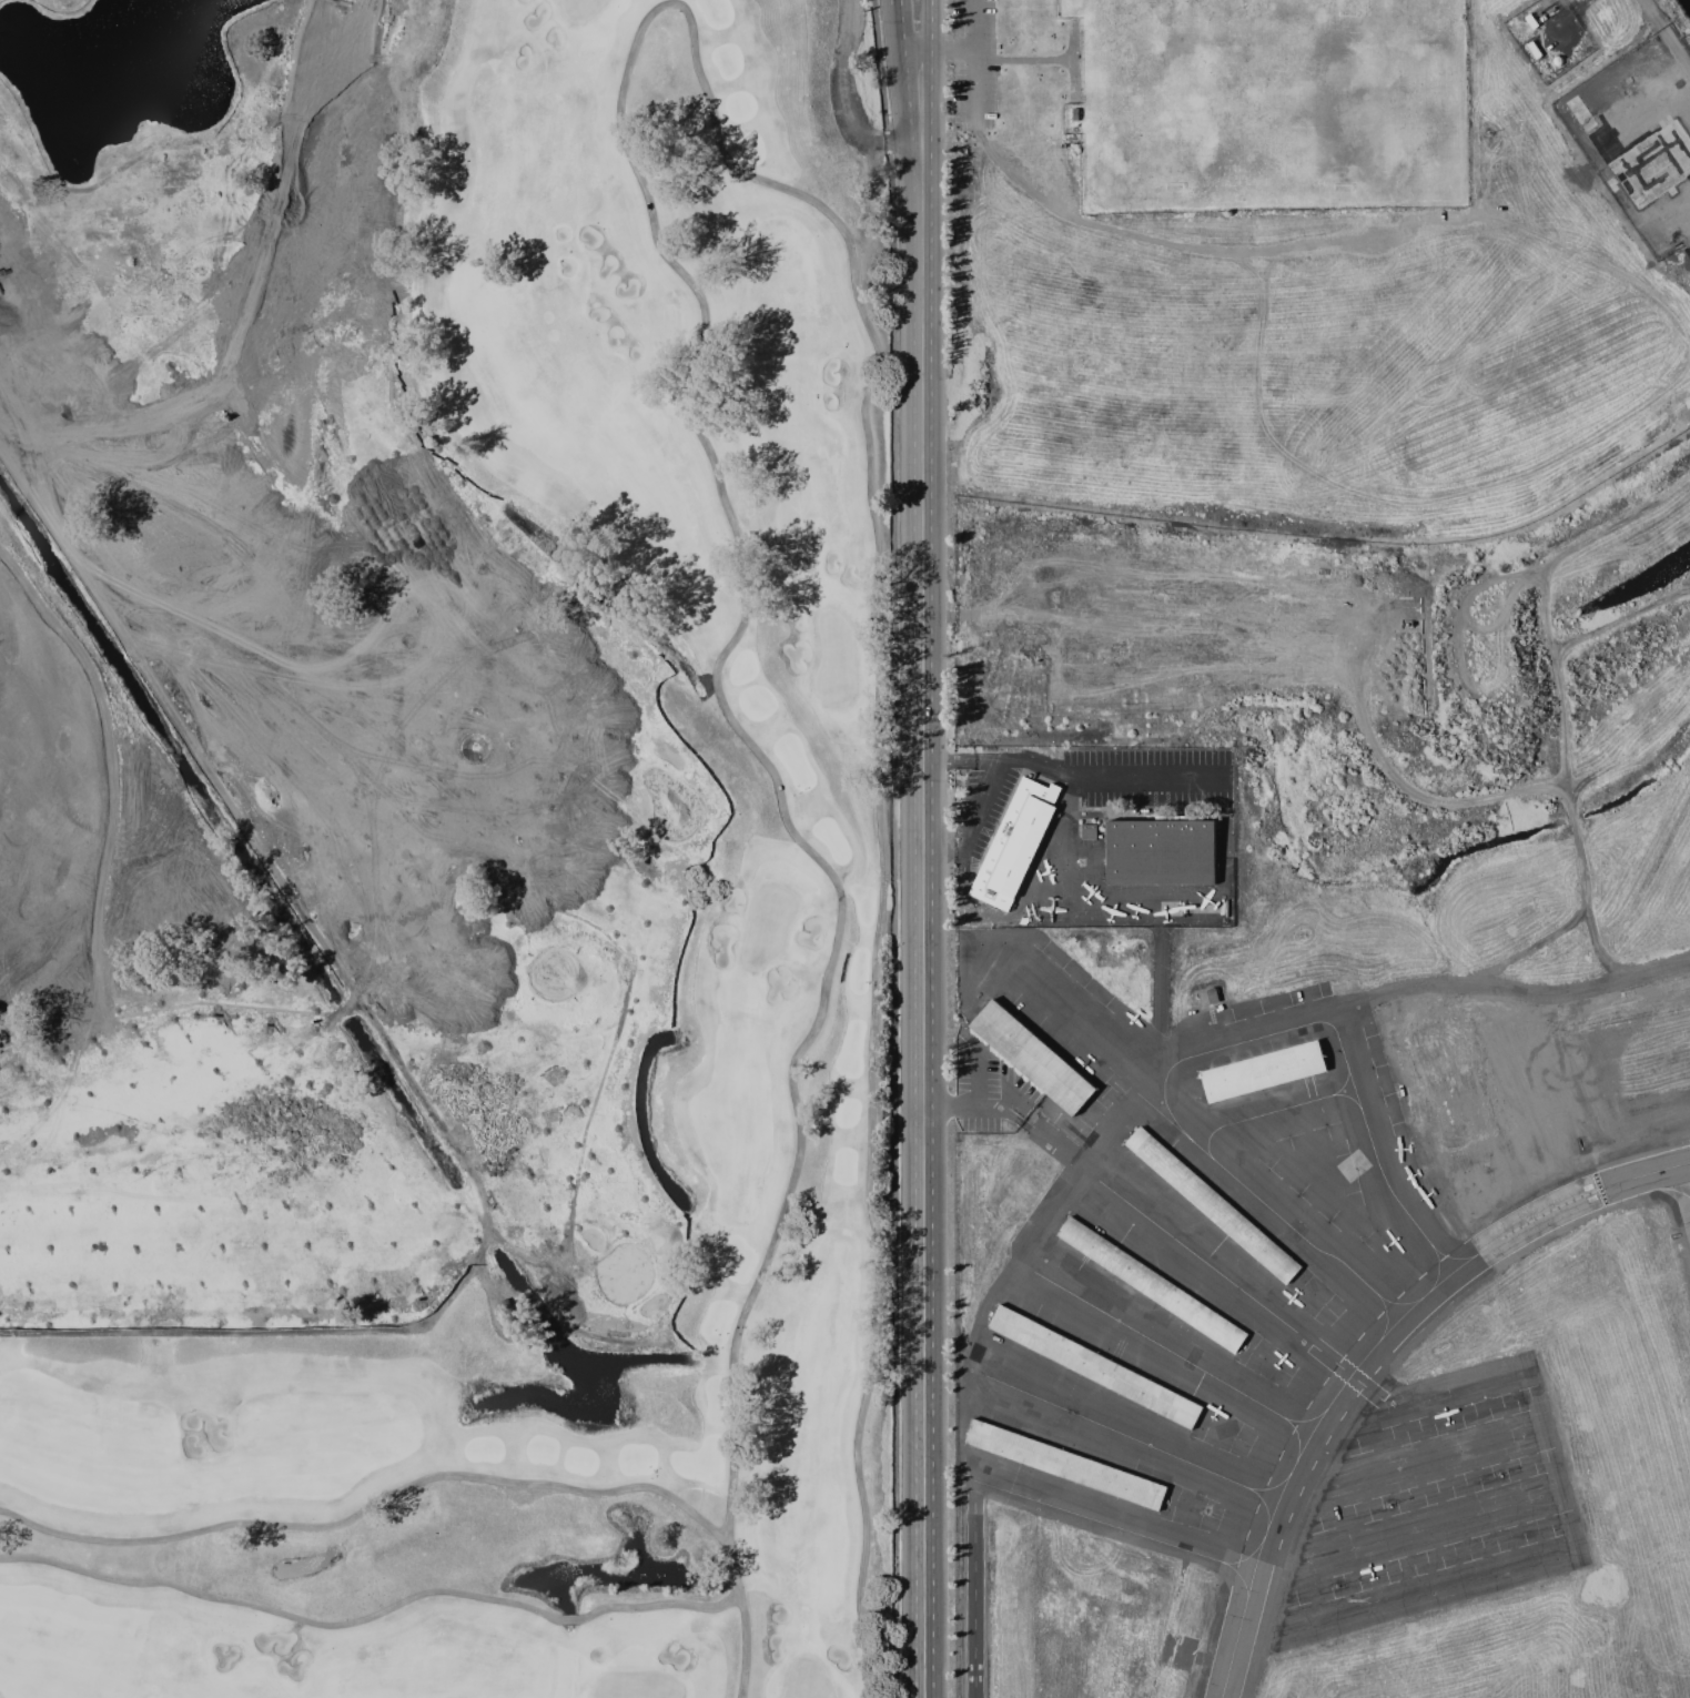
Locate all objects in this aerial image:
road: (904, 1)
road: (1669, 30)
road: (954, 50)
road: (384, 54)
road: (972, 57)
road: (1040, 59)
parking lot: (971, 67)
road: (933, 71)
road: (911, 72)
park: (1170, 94)
park: (1338, 94)
building: (1077, 113)
building: (1582, 115)
building: (1663, 156)
building: (1663, 241)
road: (418, 446)
road: (1071, 776)
road: (976, 798)
building: (1089, 831)
building: (1015, 843)
road: (900, 848)
park: (446, 850)
building: (1161, 851)
road: (544, 862)
road: (646, 876)
road: (293, 891)
road: (927, 919)
airport: (1337, 940)
road: (628, 981)
building: (1208, 995)
road: (179, 1007)
building: (1032, 1057)
building: (1264, 1070)
road: (975, 1077)
road: (976, 1105)
building: (1212, 1204)
airport hangar: (1186, 1266)
building: (1153, 1284)
road: (533, 1336)
airport taxiway: (1367, 1352)
building: (1094, 1365)
airport taxiway: (1139, 1441)
building: (1065, 1465)
airport taxiway: (1271, 1486)
airport taxiway: (1121, 1528)
airport taxiway: (1238, 1576)
road: (972, 1589)

